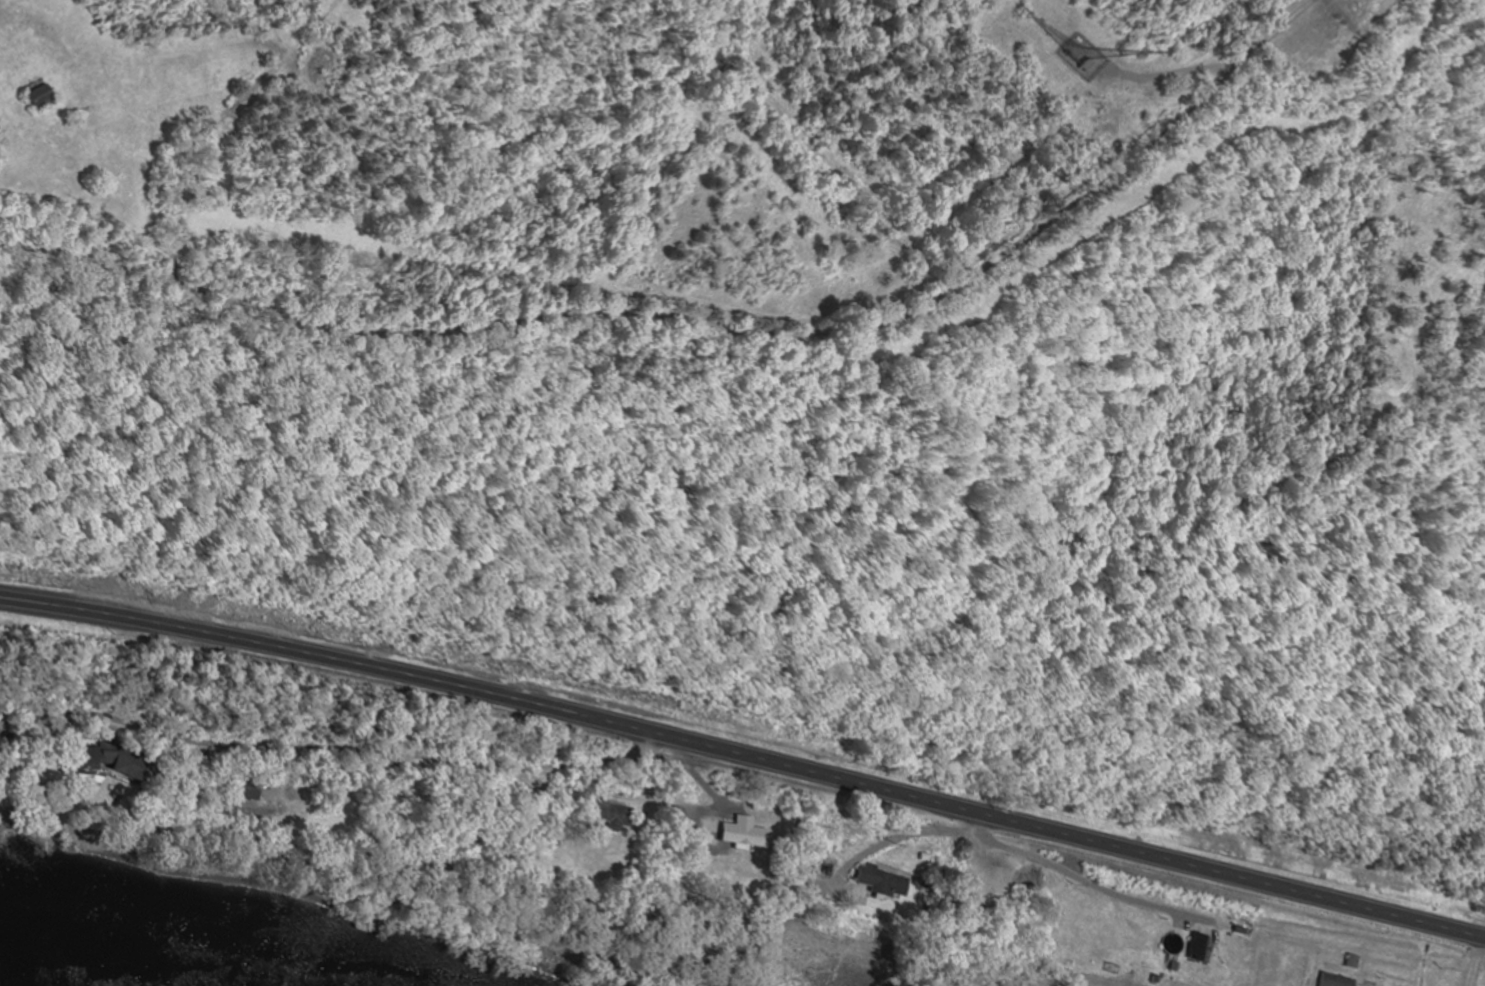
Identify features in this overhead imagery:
building: (35, 99)
road: (688, 278)
road: (347, 743)
road: (744, 756)
building: (84, 758)
building: (241, 789)
building: (611, 816)
building: (739, 836)
building: (881, 884)
building: (1199, 950)
building: (1351, 963)

